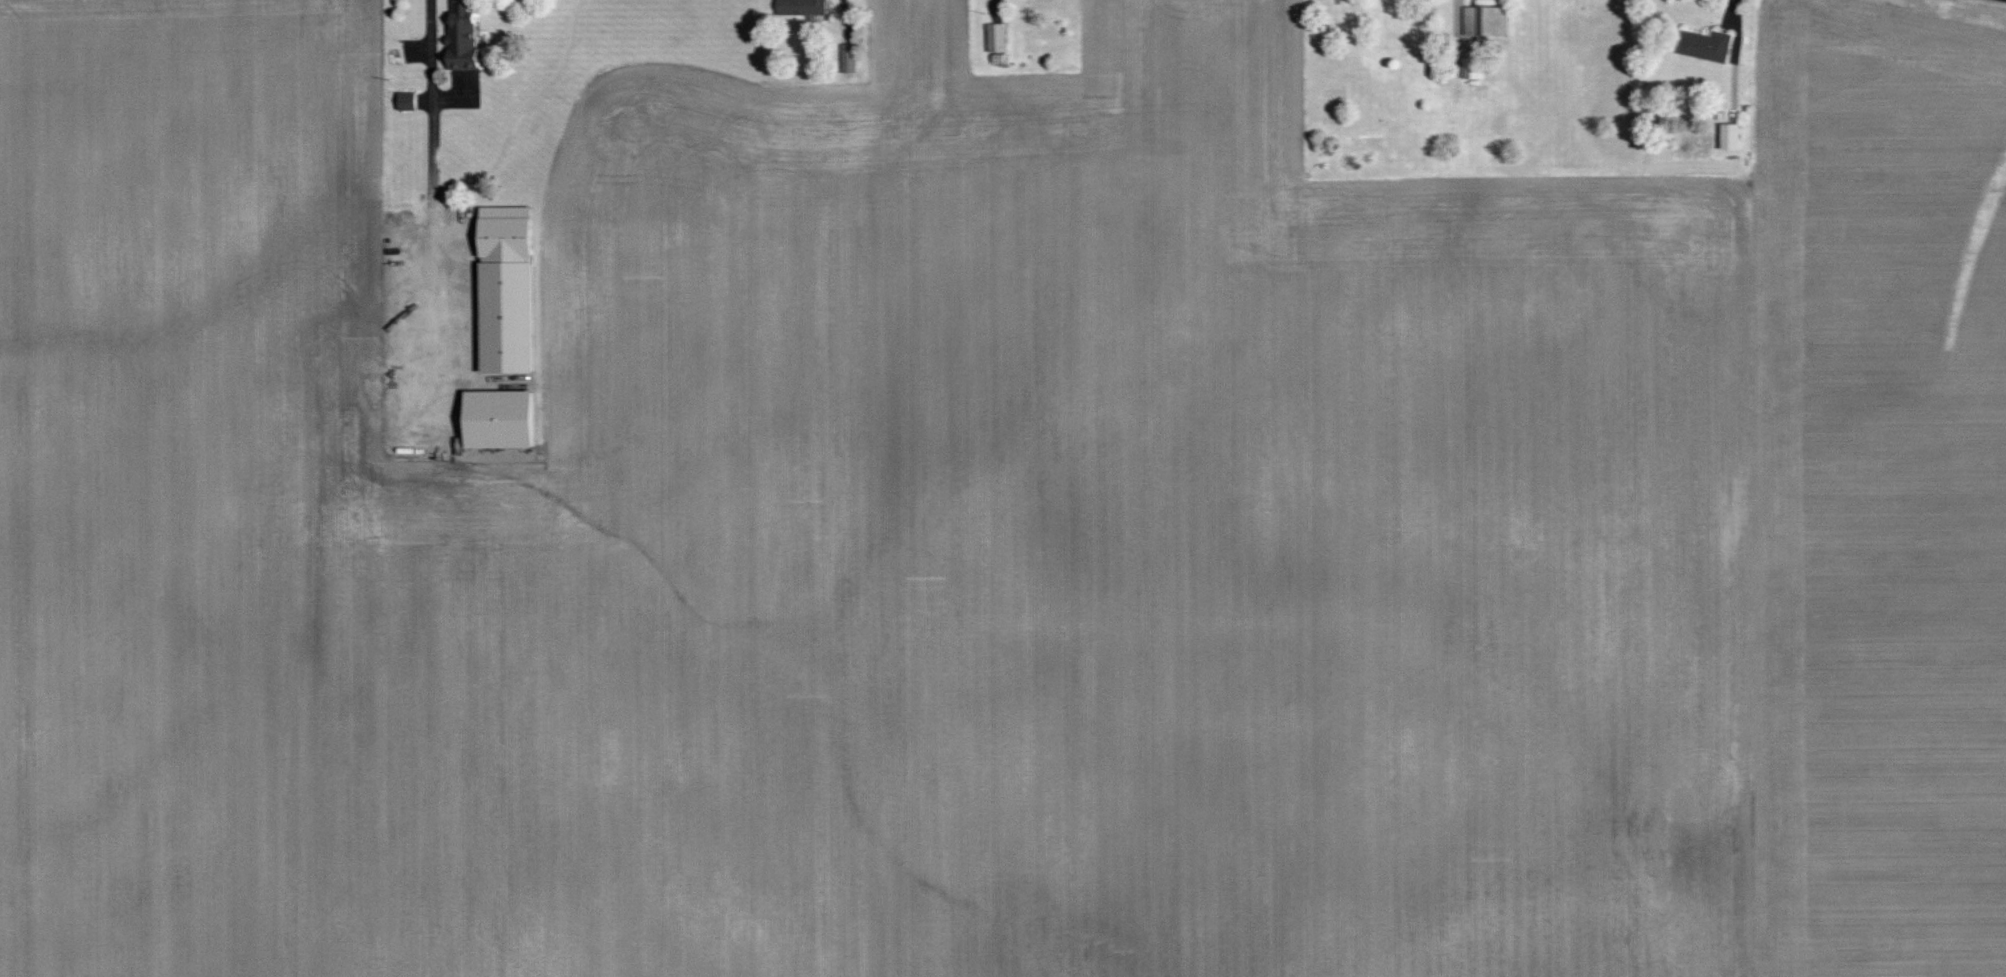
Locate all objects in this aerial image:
building: (800, 7)
building: (1474, 20)
building: (461, 37)
building: (996, 37)
building: (1705, 45)
building: (848, 58)
building: (405, 100)
building: (1730, 136)
building: (505, 288)
building: (498, 417)

